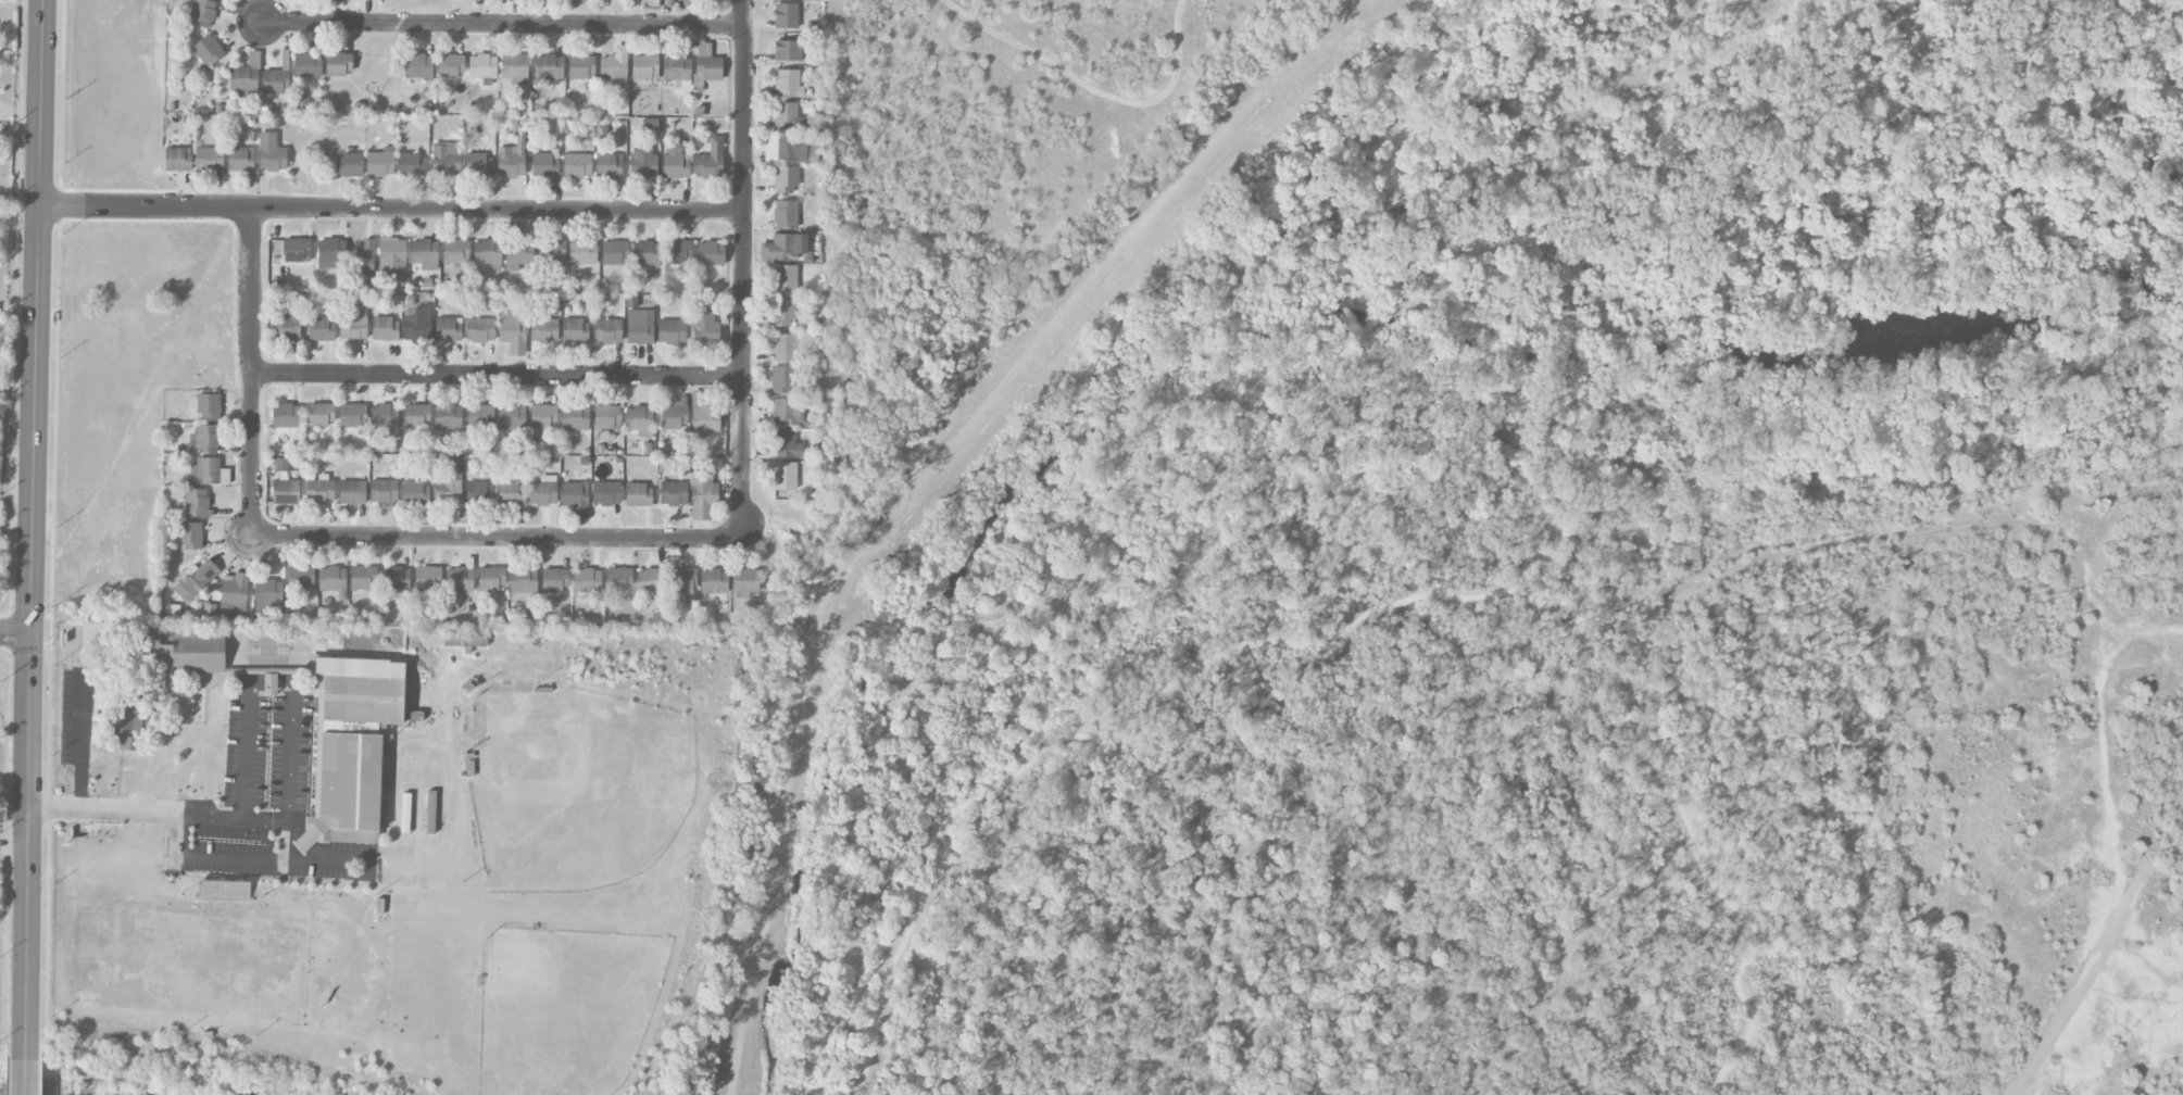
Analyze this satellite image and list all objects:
building: (335, 0)
building: (682, 3)
building: (202, 13)
building: (786, 15)
road: (504, 24)
building: (788, 50)
building: (208, 51)
building: (338, 64)
building: (706, 64)
building: (308, 65)
building: (418, 65)
building: (451, 65)
building: (549, 66)
building: (581, 66)
building: (614, 67)
building: (644, 67)
building: (482, 68)
building: (515, 68)
building: (246, 75)
building: (277, 77)
building: (788, 84)
building: (301, 103)
building: (789, 116)
building: (652, 126)
building: (785, 148)
building: (271, 153)
building: (512, 158)
building: (209, 159)
building: (240, 159)
building: (177, 160)
building: (447, 160)
building: (710, 160)
building: (380, 162)
building: (642, 162)
building: (478, 164)
building: (348, 165)
building: (412, 165)
building: (545, 165)
building: (577, 165)
building: (609, 165)
building: (786, 179)
road: (391, 209)
building: (786, 214)
building: (277, 248)
building: (779, 248)
building: (297, 249)
building: (555, 250)
building: (456, 251)
building: (582, 252)
building: (614, 252)
building: (678, 252)
building: (647, 253)
building: (330, 254)
building: (425, 254)
building: (518, 254)
building: (710, 254)
building: (392, 256)
building: (365, 259)
road: (744, 269)
building: (785, 279)
building: (781, 313)
building: (287, 323)
building: (417, 324)
building: (353, 326)
building: (704, 327)
building: (385, 328)
building: (448, 329)
building: (480, 329)
building: (322, 330)
building: (544, 330)
building: (575, 330)
building: (514, 331)
building: (607, 331)
building: (670, 331)
building: (786, 348)
road: (252, 370)
road: (499, 374)
building: (782, 380)
building: (209, 406)
building: (787, 412)
building: (321, 414)
building: (353, 415)
building: (416, 415)
building: (675, 415)
building: (286, 416)
building: (448, 416)
building: (543, 416)
building: (703, 416)
building: (512, 417)
building: (606, 417)
building: (480, 418)
building: (575, 418)
building: (385, 420)
building: (639, 420)
building: (203, 439)
building: (786, 444)
building: (209, 471)
building: (780, 474)
building: (449, 484)
building: (319, 491)
building: (384, 491)
building: (543, 491)
building: (286, 492)
building: (352, 492)
building: (478, 492)
building: (415, 493)
building: (606, 493)
building: (673, 493)
building: (511, 494)
building: (638, 495)
building: (702, 496)
building: (576, 499)
building: (196, 502)
road: (32, 529)
building: (190, 536)
road: (495, 538)
building: (300, 577)
building: (363, 577)
building: (427, 578)
building: (491, 578)
building: (618, 578)
building: (196, 579)
building: (396, 579)
building: (459, 579)
building: (554, 579)
building: (523, 580)
building: (682, 580)
building: (333, 581)
building: (587, 581)
building: (713, 581)
building: (650, 582)
building: (744, 582)
building: (234, 590)
building: (271, 592)
building: (523, 599)
building: (211, 611)
road: (1360, 617)
road: (14, 631)
traffic signals: (29, 631)
building: (465, 637)
building: (185, 646)
building: (269, 681)
park: (1417, 713)
building: (126, 722)
building: (351, 746)
road: (83, 748)
road: (289, 781)
building: (430, 811)
road: (190, 814)
road: (230, 861)
building: (224, 890)
road: (24, 1077)

